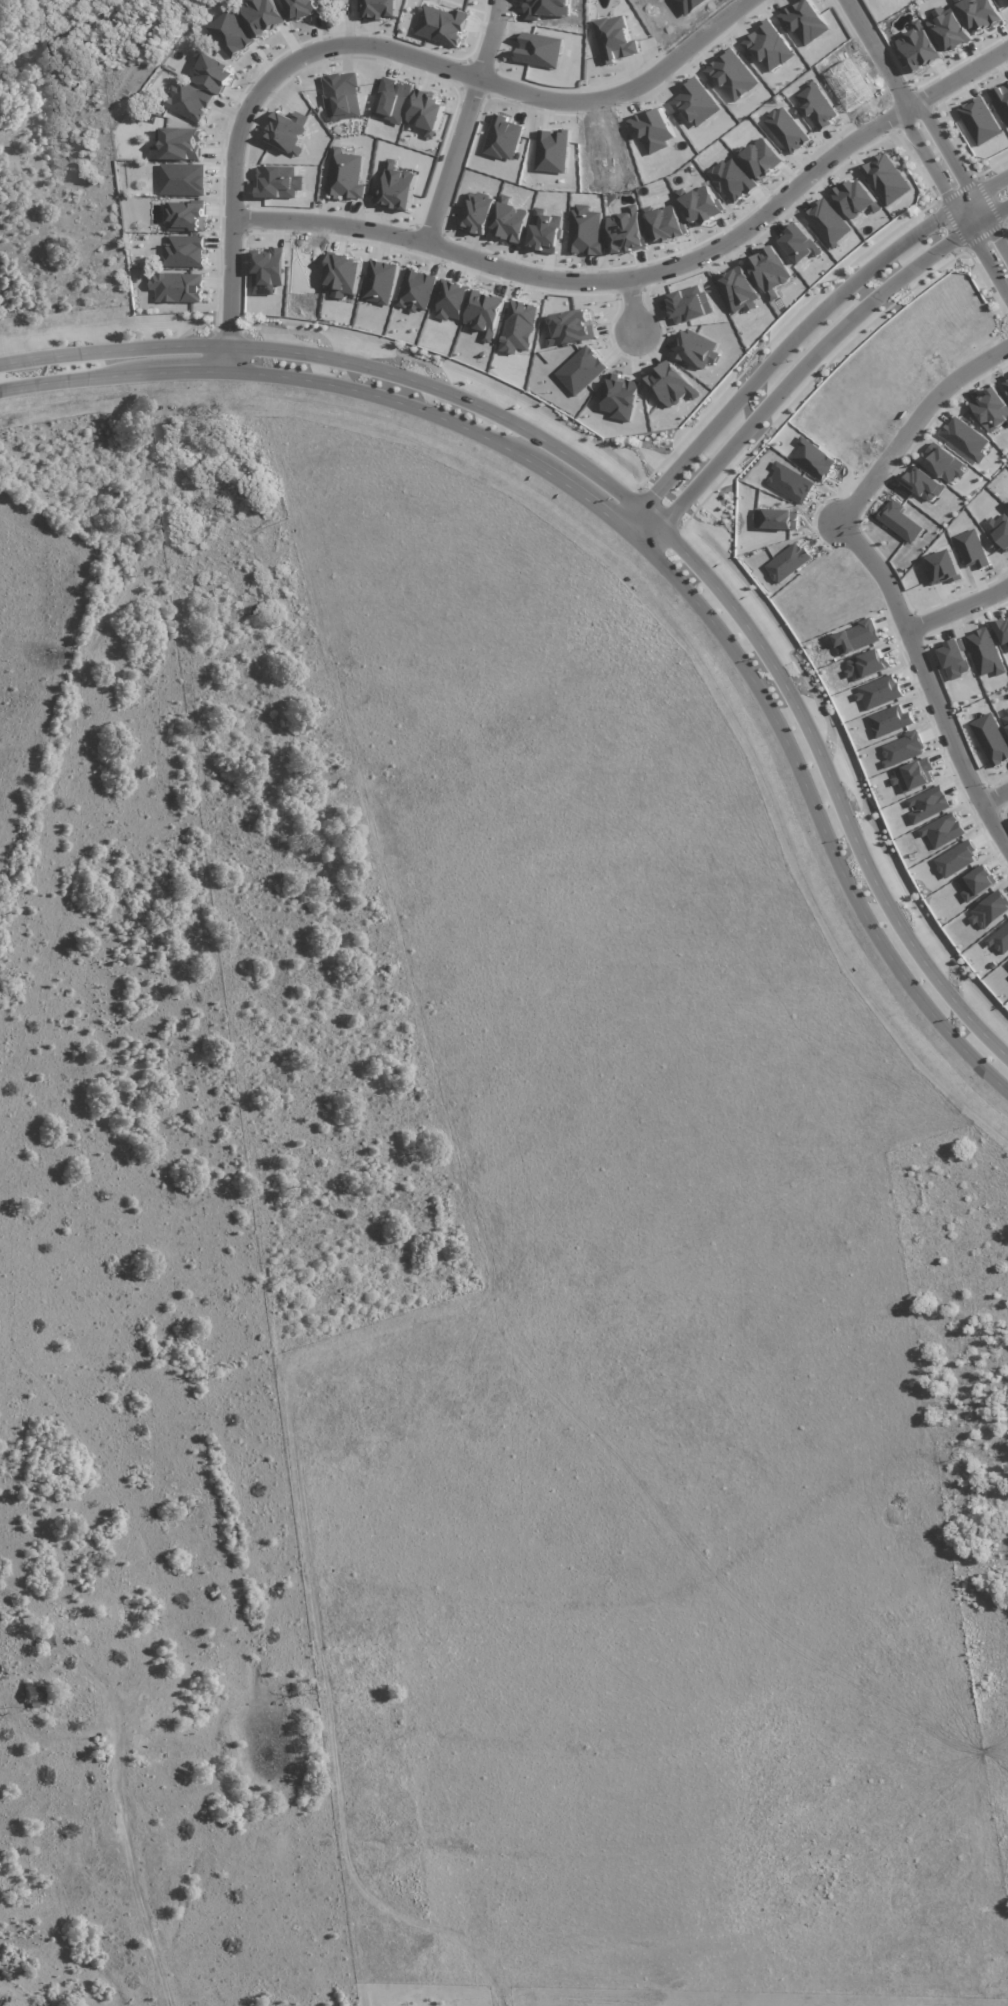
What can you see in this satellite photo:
building: (301, 8)
building: (381, 9)
building: (978, 13)
building: (263, 15)
building: (442, 26)
building: (949, 31)
building: (231, 34)
road: (487, 38)
building: (615, 39)
road: (372, 45)
building: (768, 46)
building: (918, 47)
building: (213, 74)
building: (731, 75)
building: (189, 101)
building: (695, 103)
building: (817, 106)
road: (912, 111)
building: (427, 112)
building: (653, 130)
building: (786, 130)
building: (288, 131)
building: (178, 145)
building: (762, 158)
road: (451, 161)
building: (345, 175)
building: (886, 179)
building: (183, 180)
building: (396, 188)
building: (854, 198)
building: (702, 205)
building: (476, 213)
building: (186, 217)
building: (509, 221)
building: (665, 224)
building: (585, 231)
building: (627, 231)
building: (799, 244)
road: (993, 249)
building: (184, 252)
building: (268, 270)
building: (770, 272)
road: (646, 273)
building: (342, 275)
building: (378, 282)
building: (178, 287)
building: (739, 290)
building: (415, 291)
building: (689, 304)
road: (633, 305)
building: (485, 313)
building: (519, 327)
building: (571, 328)
road: (799, 335)
building: (696, 349)
road: (811, 362)
building: (581, 370)
building: (1006, 382)
building: (671, 385)
building: (991, 410)
road: (910, 422)
building: (965, 439)
building: (943, 463)
building: (922, 485)
road: (635, 504)
building: (899, 521)
road: (633, 541)
building: (972, 549)
building: (944, 563)
road: (956, 609)
building: (1003, 632)
building: (855, 638)
building: (985, 653)
building: (954, 659)
building: (867, 665)
road: (927, 684)
building: (878, 692)
building: (1005, 719)
building: (902, 749)
building: (913, 775)
road: (992, 789)
building: (927, 804)
building: (942, 830)
building: (956, 859)
building: (977, 883)
building: (990, 911)
building: (1000, 940)
building: (33, 1692)
road: (155, 1842)

